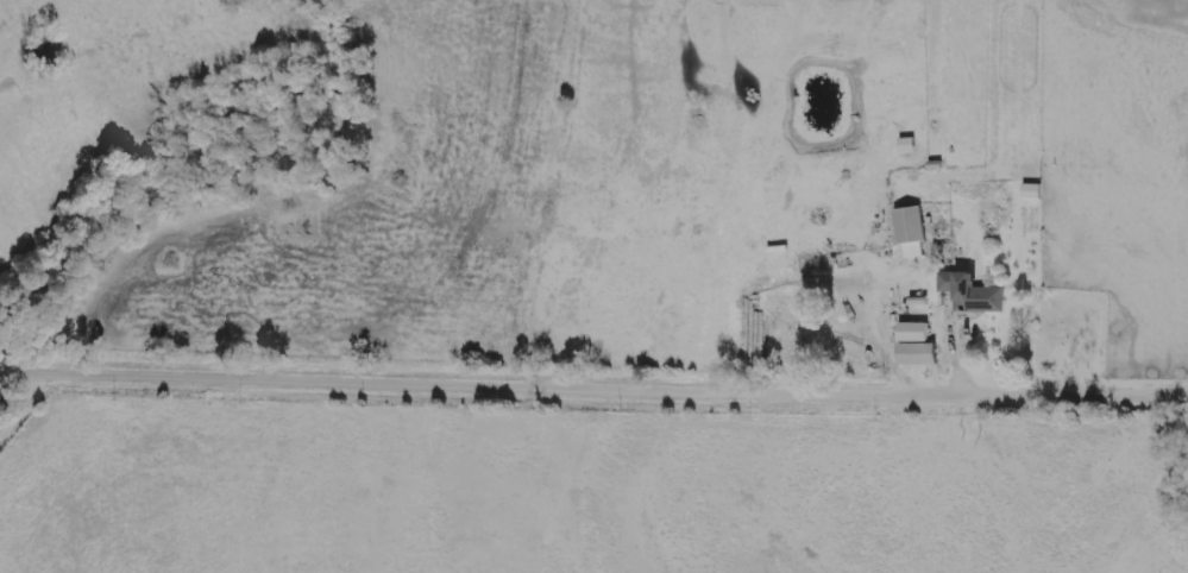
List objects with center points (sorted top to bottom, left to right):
building: (910, 145)
building: (1033, 191)
building: (910, 232)
building: (970, 294)
building: (775, 315)
building: (917, 346)
road: (963, 359)
road: (593, 383)

